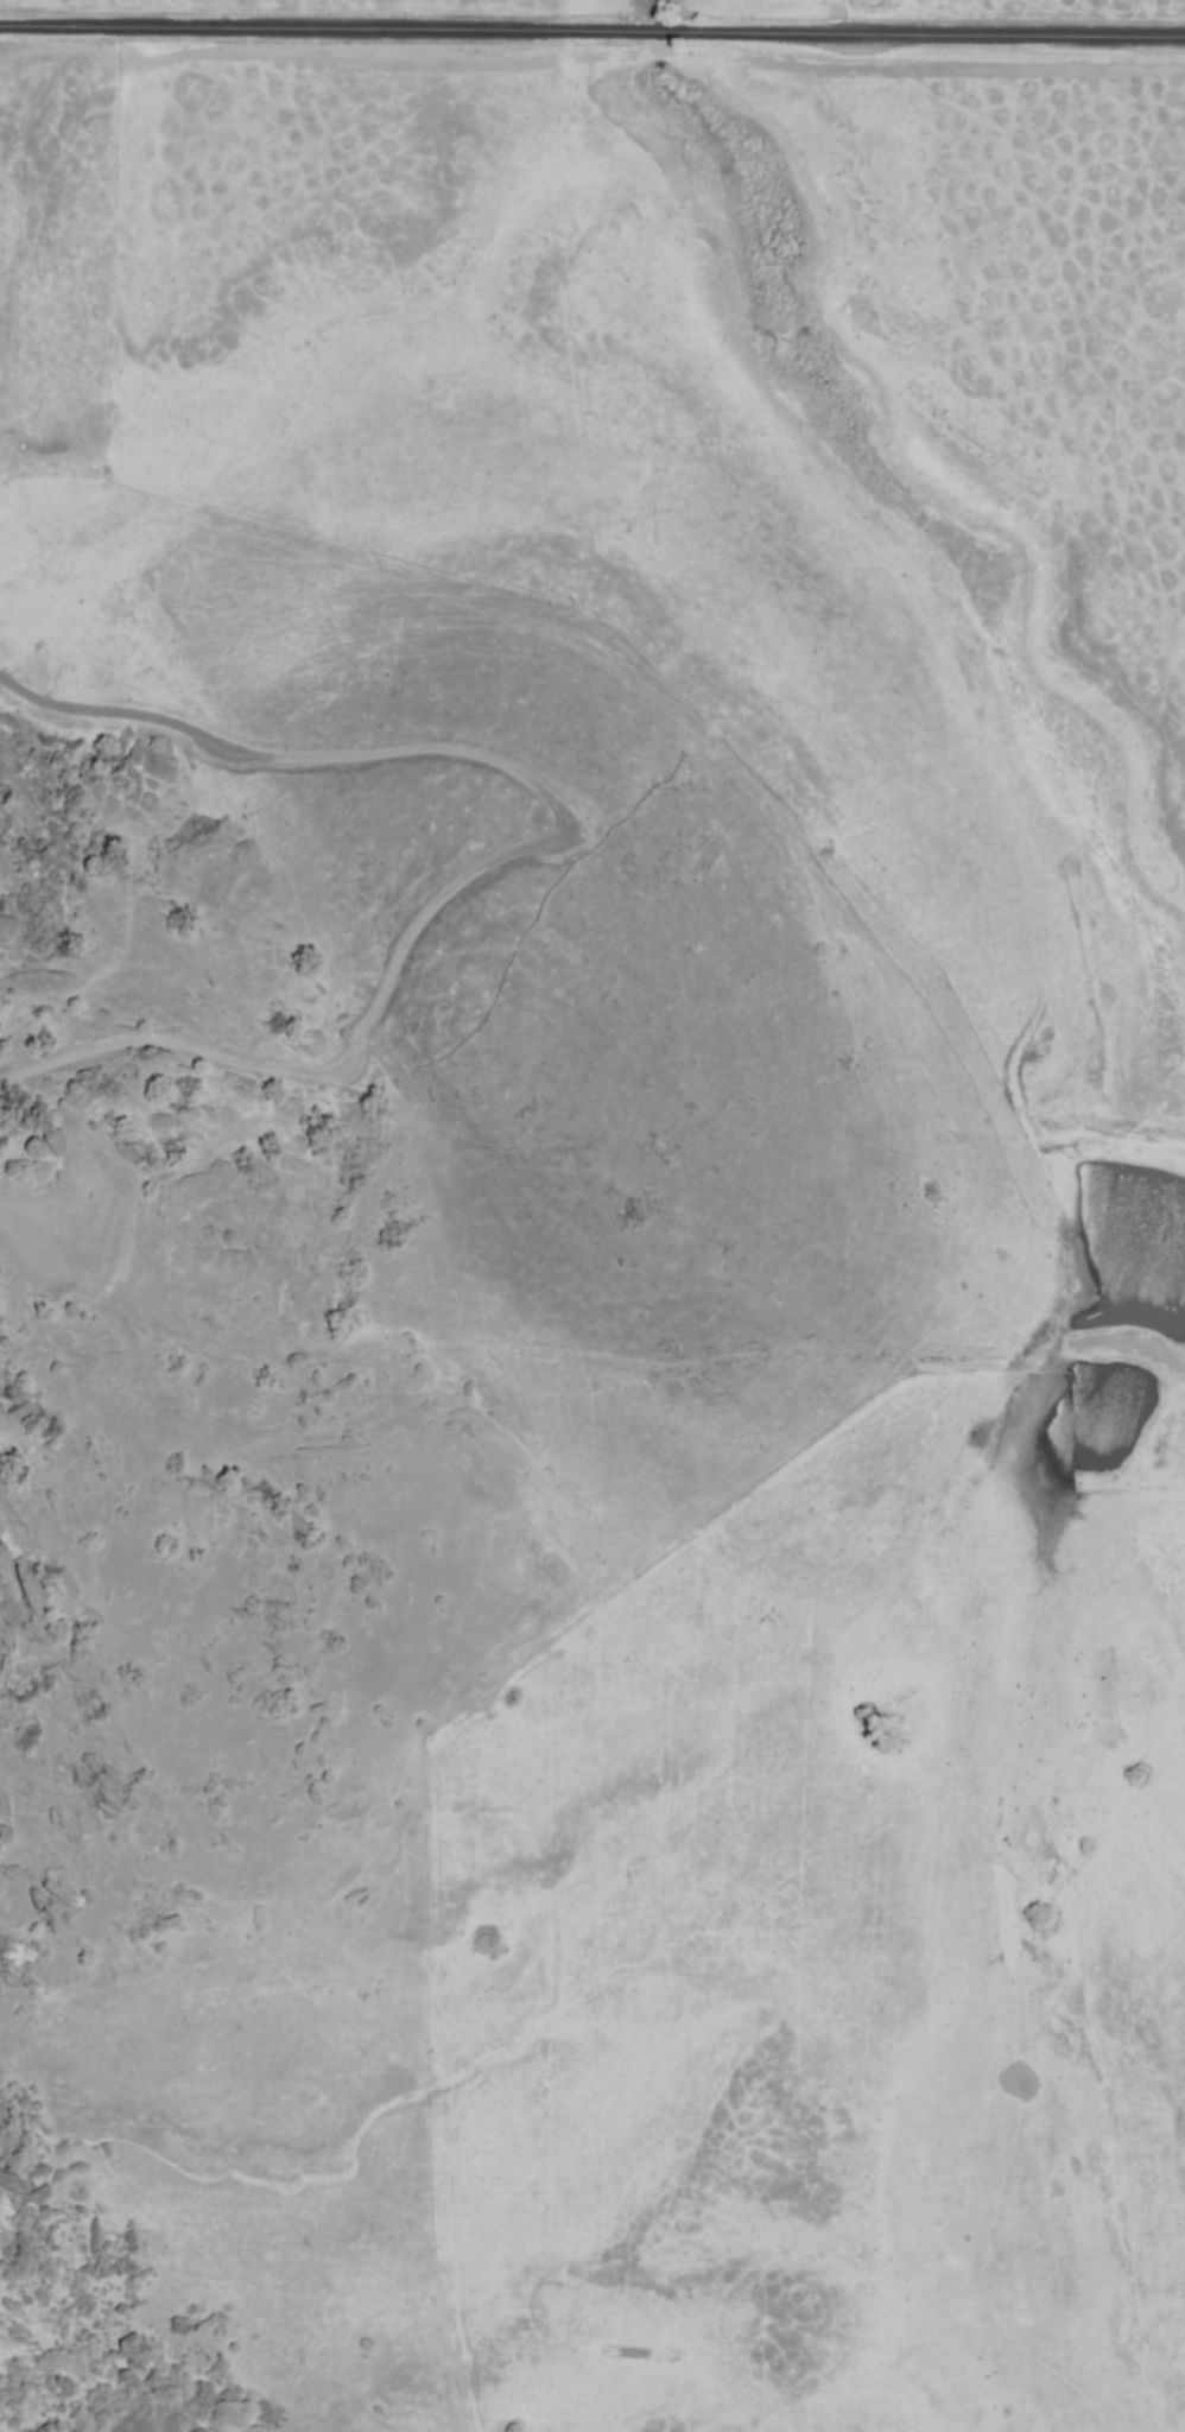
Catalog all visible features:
road: (592, 30)
crop: (579, 106)
crop: (218, 274)
crop: (1122, 1172)
crop: (619, 1868)

